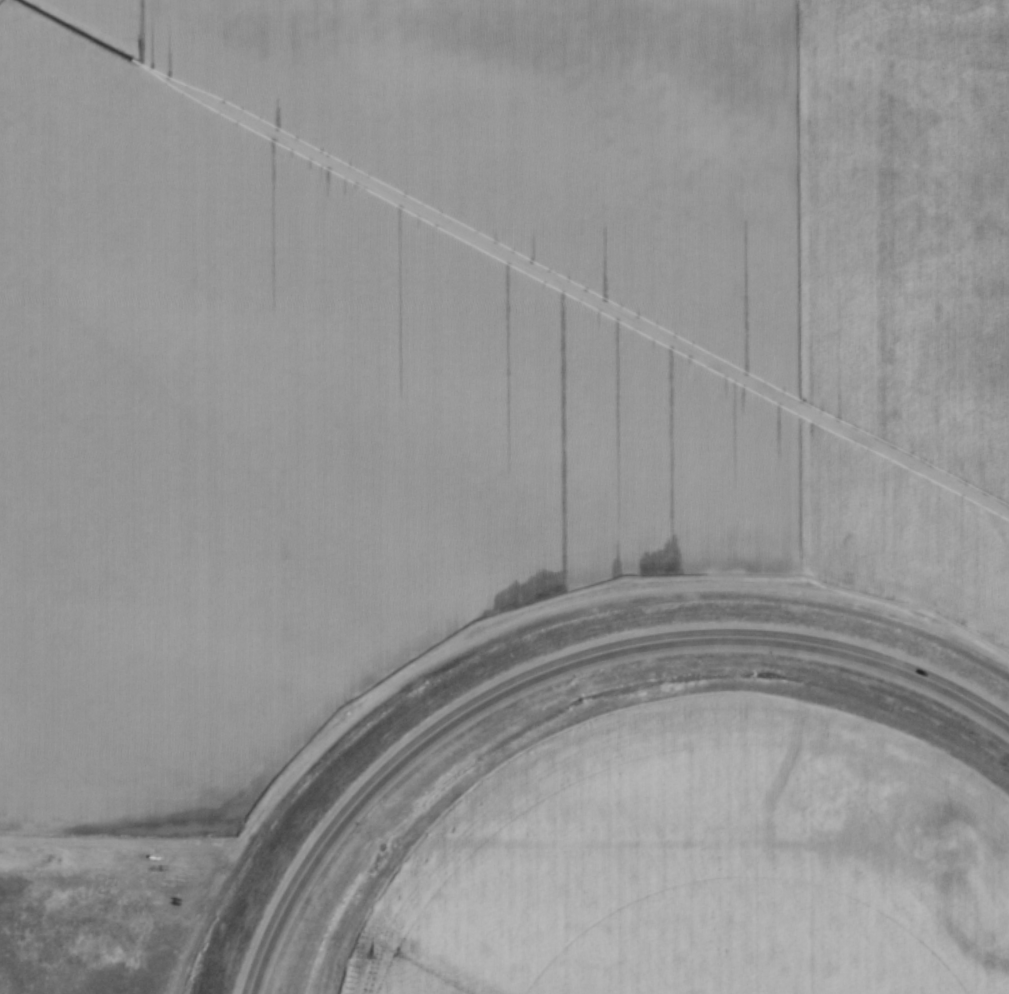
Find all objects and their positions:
road: (559, 665)
building: (890, 797)

